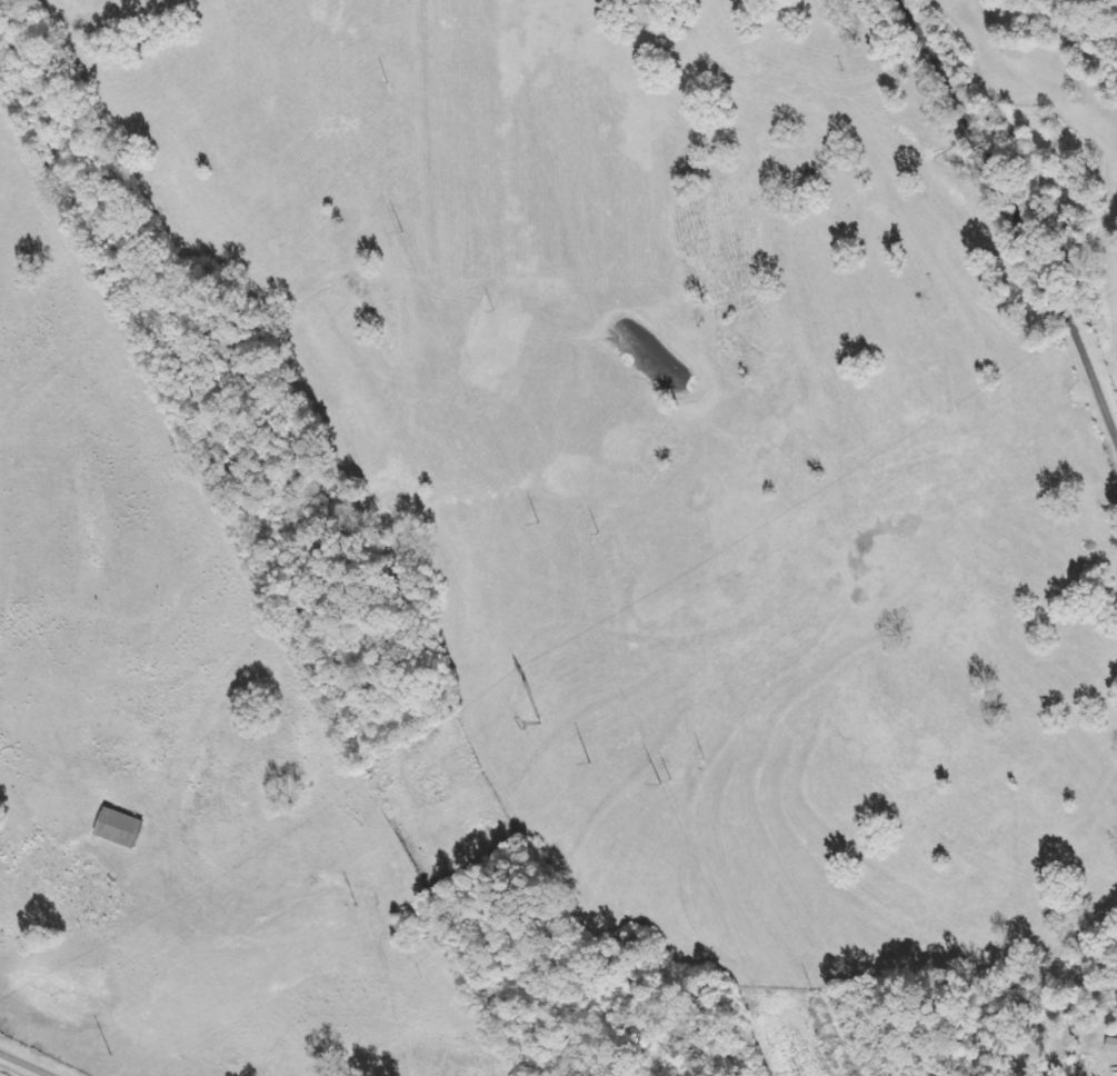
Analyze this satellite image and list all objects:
building: (650, 2)
road: (850, 188)
road: (994, 216)
power tower: (399, 235)
power tower: (537, 526)
power tower: (538, 725)
power tower: (661, 783)
building: (119, 829)
road: (19, 1067)

